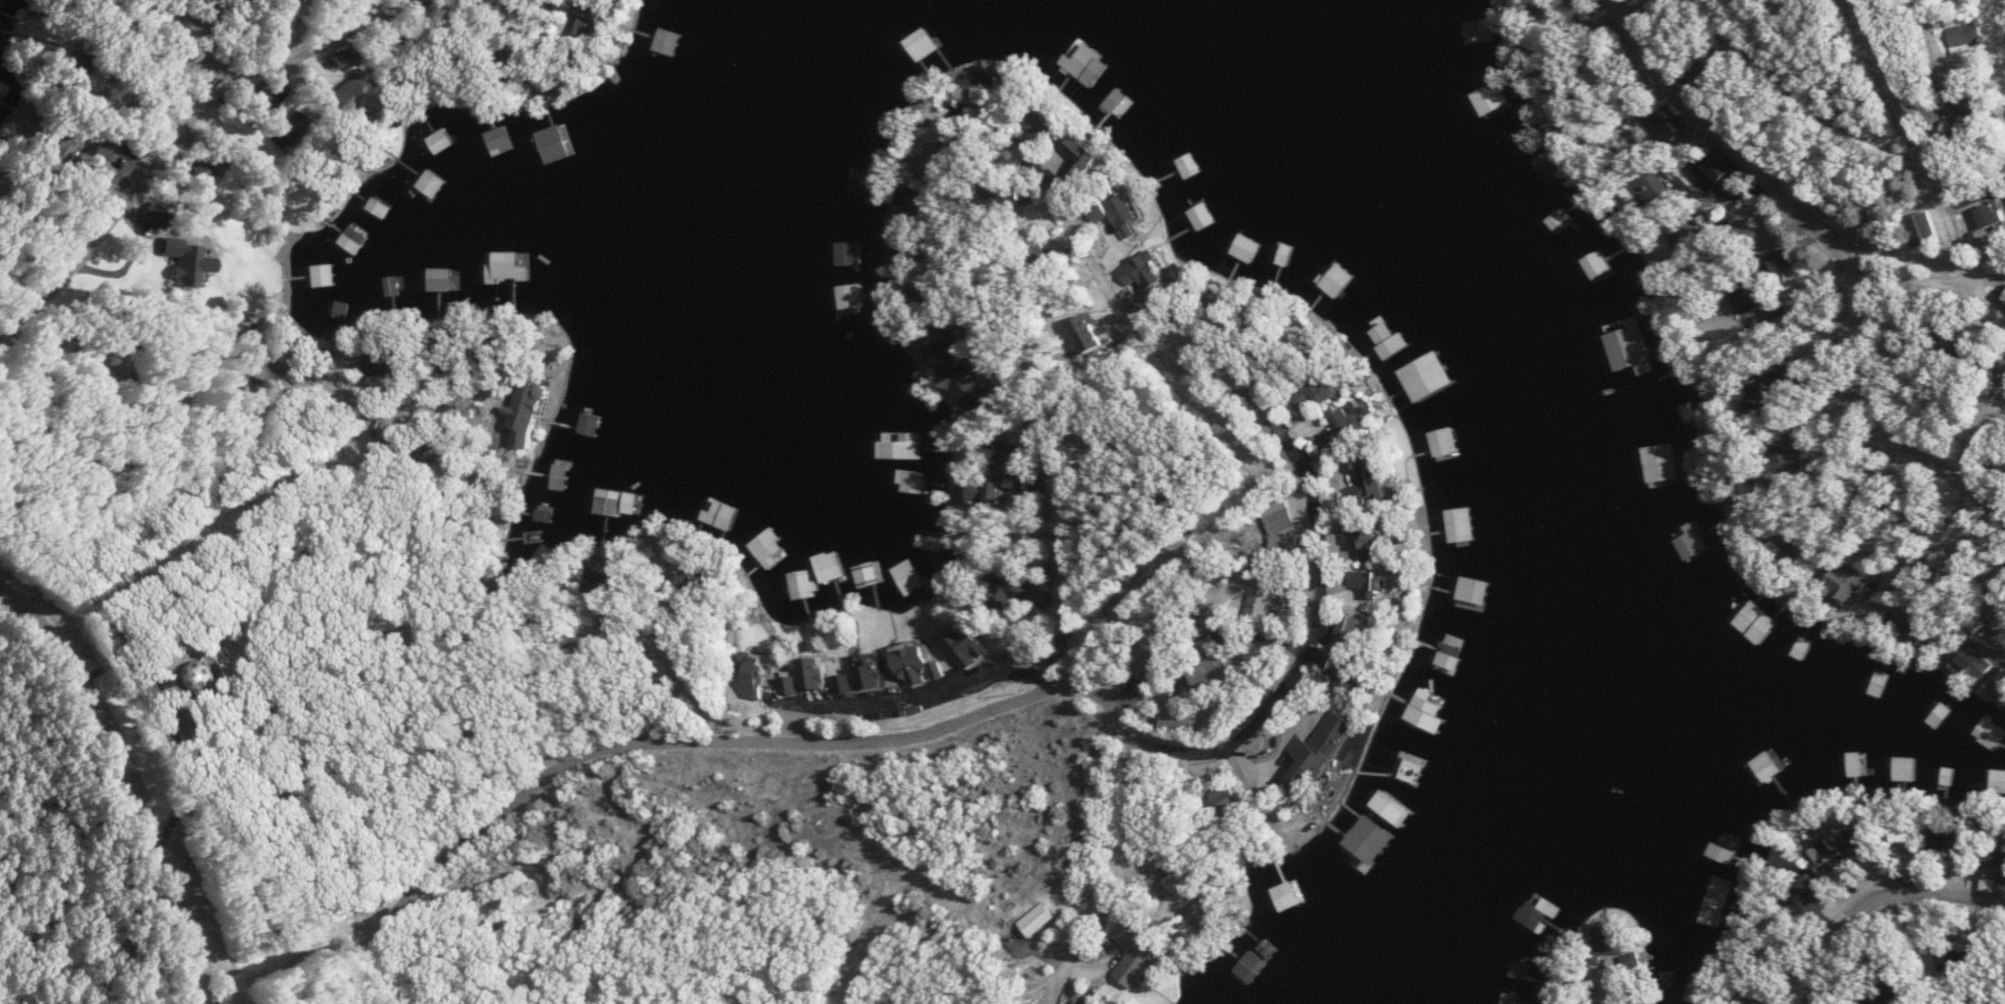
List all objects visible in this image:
road: (413, 6)
building: (1456, 33)
building: (1980, 34)
building: (671, 41)
building: (924, 44)
road: (297, 55)
building: (392, 58)
building: (1070, 66)
building: (82, 70)
road: (1928, 70)
road: (1843, 76)
building: (357, 88)
building: (264, 94)
building: (1117, 102)
building: (1671, 122)
building: (1045, 123)
building: (547, 137)
building: (110, 146)
building: (59, 147)
building: (499, 148)
building: (1087, 158)
building: (1189, 165)
building: (1717, 165)
building: (206, 170)
building: (861, 179)
road: (135, 183)
building: (432, 185)
building: (387, 210)
building: (1125, 212)
building: (1992, 214)
building: (1204, 216)
building: (1925, 227)
road: (1072, 232)
road: (1964, 232)
building: (356, 239)
building: (1247, 247)
building: (850, 252)
building: (1286, 254)
road: (1833, 254)
building: (1782, 260)
building: (1600, 264)
building: (517, 266)
building: (167, 267)
building: (1149, 272)
building: (324, 275)
road: (1906, 275)
building: (441, 278)
building: (1338, 280)
building: (855, 294)
building: (1748, 294)
building: (1631, 330)
building: (1390, 340)
building: (1958, 341)
building: (874, 361)
building: (968, 364)
building: (285, 365)
building: (1430, 376)
building: (1323, 390)
building: (531, 414)
building: (1355, 424)
building: (1445, 443)
building: (907, 449)
building: (993, 450)
building: (1797, 456)
building: (1666, 463)
building: (1378, 480)
building: (916, 481)
building: (985, 487)
road: (230, 489)
building: (617, 501)
building: (1295, 512)
building: (1461, 523)
building: (1377, 538)
building: (1802, 542)
building: (1301, 543)
building: (769, 547)
building: (832, 566)
building: (1377, 581)
building: (1854, 583)
building: (807, 591)
building: (1014, 592)
building: (1473, 592)
road: (1994, 598)
road: (3, 600)
road: (3, 602)
building: (1759, 622)
building: (1360, 625)
building: (972, 647)
building: (1161, 656)
building: (1981, 663)
building: (922, 664)
building: (1349, 667)
building: (872, 670)
building: (816, 672)
building: (1225, 672)
building: (208, 674)
building: (761, 675)
road: (681, 683)
building: (792, 684)
road: (1095, 694)
road: (918, 695)
building: (1429, 710)
building: (1191, 716)
building: (1996, 733)
building: (1326, 748)
road: (637, 749)
building: (1856, 763)
building: (1770, 765)
building: (1904, 768)
road: (132, 786)
building: (1233, 797)
building: (1949, 840)
building: (1866, 845)
building: (2002, 859)
building: (1844, 860)
road: (1120, 866)
building: (1285, 896)
building: (1817, 899)
road: (1881, 903)
building: (1541, 911)
building: (1043, 918)
building: (1140, 953)
building: (1951, 960)
road: (1595, 989)

